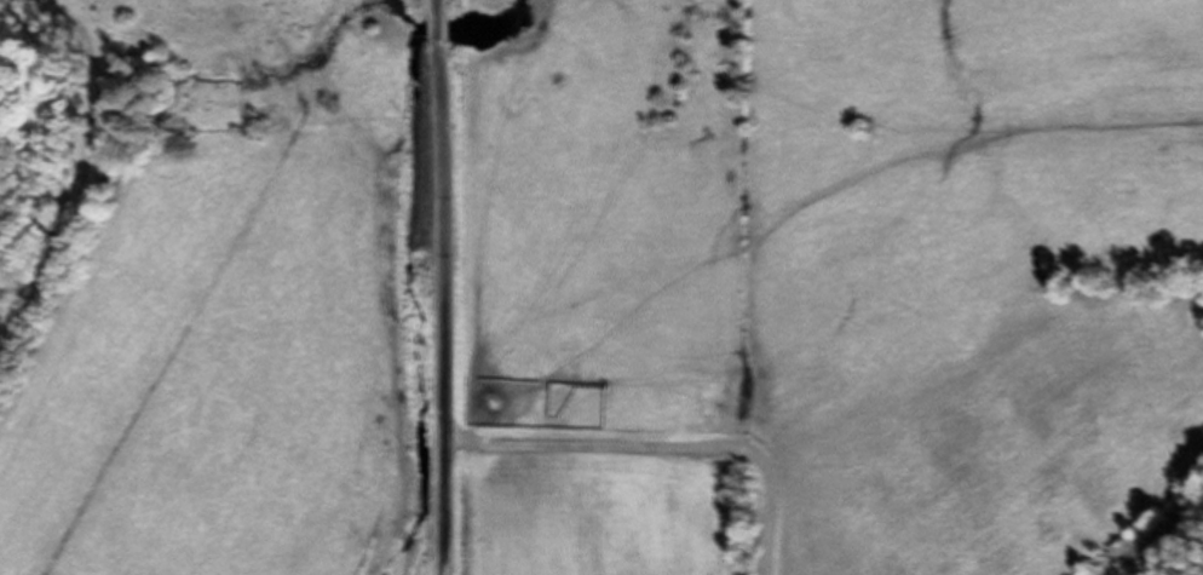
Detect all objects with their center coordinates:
road: (443, 287)

